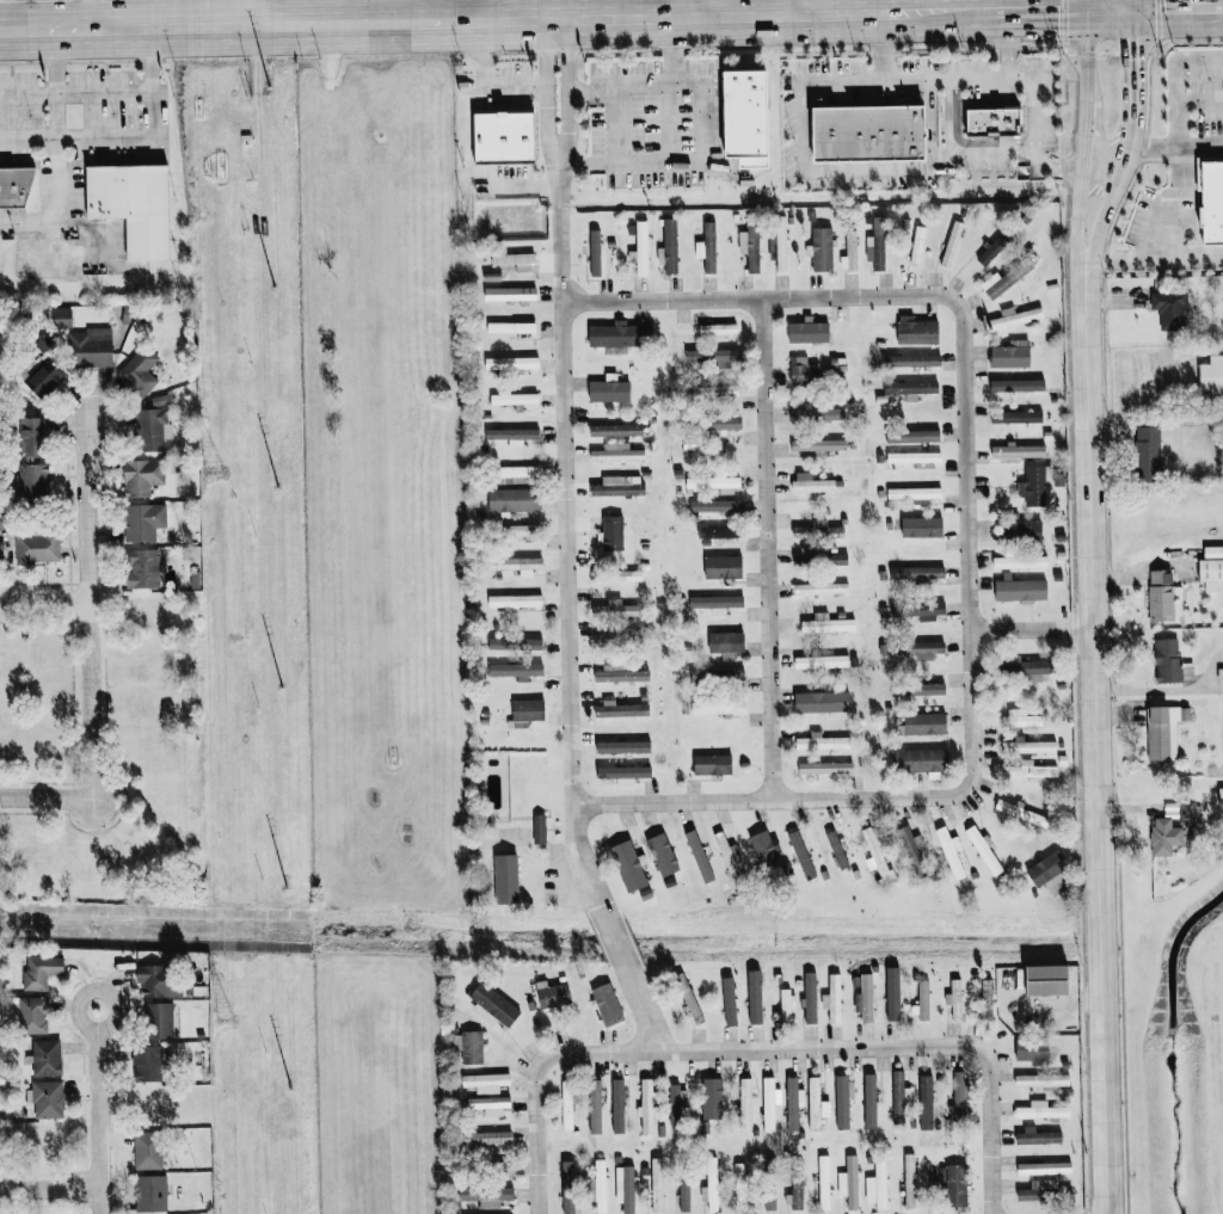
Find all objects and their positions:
road: (1088, 4)
road: (1131, 4)
road: (966, 6)
road: (1178, 6)
road: (693, 7)
road: (788, 7)
road: (1111, 7)
road: (1027, 8)
road: (503, 10)
road: (923, 12)
road: (92, 16)
road: (438, 20)
road: (1087, 44)
road: (1132, 62)
road: (942, 78)
road: (1174, 78)
road: (843, 81)
road: (491, 82)
road: (56, 84)
road: (668, 87)
road: (76, 90)
road: (1199, 101)
building: (745, 115)
road: (1083, 115)
road: (703, 122)
building: (994, 122)
road: (929, 123)
road: (616, 124)
road: (1032, 131)
building: (871, 134)
road: (128, 137)
building: (505, 138)
road: (1174, 148)
road: (953, 153)
road: (940, 160)
road: (823, 168)
building: (16, 187)
road: (1116, 191)
building: (1211, 197)
road: (55, 203)
building: (133, 205)
road: (1077, 205)
building: (877, 242)
building: (951, 244)
building: (917, 245)
building: (670, 246)
building: (707, 247)
building: (749, 248)
building: (781, 248)
road: (1173, 248)
building: (640, 249)
building: (821, 249)
building: (992, 249)
building: (849, 251)
building: (595, 253)
building: (515, 261)
building: (997, 284)
building: (511, 295)
road: (758, 297)
building: (1169, 309)
building: (125, 315)
building: (61, 316)
building: (1015, 318)
building: (511, 327)
building: (916, 331)
building: (809, 332)
building: (617, 335)
building: (91, 346)
building: (713, 356)
building: (1009, 356)
building: (912, 359)
building: (511, 362)
building: (137, 370)
building: (804, 371)
building: (44, 377)
building: (1212, 377)
building: (1009, 383)
building: (911, 386)
building: (609, 390)
building: (714, 390)
building: (515, 399)
building: (816, 413)
building: (1016, 415)
building: (719, 420)
building: (154, 425)
building: (614, 430)
building: (35, 433)
building: (512, 435)
building: (912, 435)
building: (818, 444)
building: (1019, 450)
building: (616, 452)
building: (1148, 452)
building: (916, 457)
road: (564, 466)
power tower: (211, 472)
building: (514, 474)
building: (142, 475)
building: (35, 477)
building: (714, 482)
building: (811, 482)
building: (617, 485)
building: (1033, 485)
building: (915, 492)
building: (514, 499)
building: (717, 505)
building: (143, 520)
building: (917, 522)
building: (517, 529)
building: (816, 530)
building: (1025, 530)
building: (720, 531)
building: (613, 532)
road: (966, 544)
building: (37, 546)
building: (1, 548)
road: (766, 548)
building: (1019, 561)
building: (517, 563)
building: (723, 566)
building: (142, 567)
building: (1210, 569)
building: (917, 573)
building: (617, 575)
building: (821, 588)
building: (1020, 588)
building: (1161, 594)
building: (515, 600)
road: (42, 602)
building: (715, 603)
road: (85, 608)
building: (616, 609)
building: (918, 610)
building: (828, 623)
road: (1032, 628)
building: (515, 643)
building: (726, 643)
building: (912, 648)
building: (1167, 659)
building: (822, 661)
building: (1027, 667)
building: (516, 670)
building: (619, 673)
building: (922, 688)
building: (822, 701)
building: (719, 707)
building: (528, 709)
building: (620, 709)
building: (1020, 719)
building: (922, 723)
building: (1163, 731)
road: (1096, 737)
building: (822, 741)
building: (1027, 746)
building: (920, 760)
building: (713, 764)
building: (825, 768)
building: (1028, 770)
building: (623, 771)
building: (1222, 790)
road: (48, 799)
road: (769, 800)
building: (1164, 836)
building: (904, 848)
building: (837, 849)
building: (763, 850)
building: (951, 851)
building: (984, 851)
building: (662, 854)
building: (874, 854)
building: (801, 855)
building: (730, 865)
building: (1046, 868)
building: (508, 882)
road: (614, 939)
building: (42, 970)
building: (1045, 979)
building: (160, 980)
building: (551, 994)
building: (809, 997)
building: (865, 997)
building: (832, 998)
building: (923, 999)
building: (954, 999)
building: (892, 1000)
building: (785, 1003)
building: (607, 1004)
building: (492, 1005)
road: (644, 1010)
building: (32, 1015)
power tower: (225, 1018)
building: (159, 1019)
building: (469, 1046)
road: (761, 1048)
building: (1031, 1050)
building: (45, 1058)
building: (148, 1062)
building: (1040, 1080)
building: (485, 1081)
building: (898, 1097)
building: (45, 1098)
building: (960, 1098)
building: (842, 1099)
building: (869, 1101)
building: (924, 1102)
building: (676, 1103)
building: (793, 1103)
building: (490, 1104)
building: (566, 1104)
building: (646, 1104)
building: (745, 1104)
building: (768, 1104)
building: (815, 1104)
building: (617, 1105)
building: (595, 1107)
road: (98, 1109)
building: (1040, 1110)
road: (989, 1130)
road: (534, 1134)
building: (1037, 1135)
building: (490, 1138)
building: (147, 1151)
building: (1043, 1167)
building: (909, 1181)
building: (823, 1182)
building: (849, 1182)
building: (879, 1182)
building: (953, 1183)
building: (657, 1184)
road: (49, 1185)
building: (567, 1187)
building: (625, 1188)
building: (709, 1189)
building: (592, 1190)
building: (1043, 1191)
building: (150, 1193)
building: (794, 1193)
building: (486, 1195)
building: (737, 1195)

